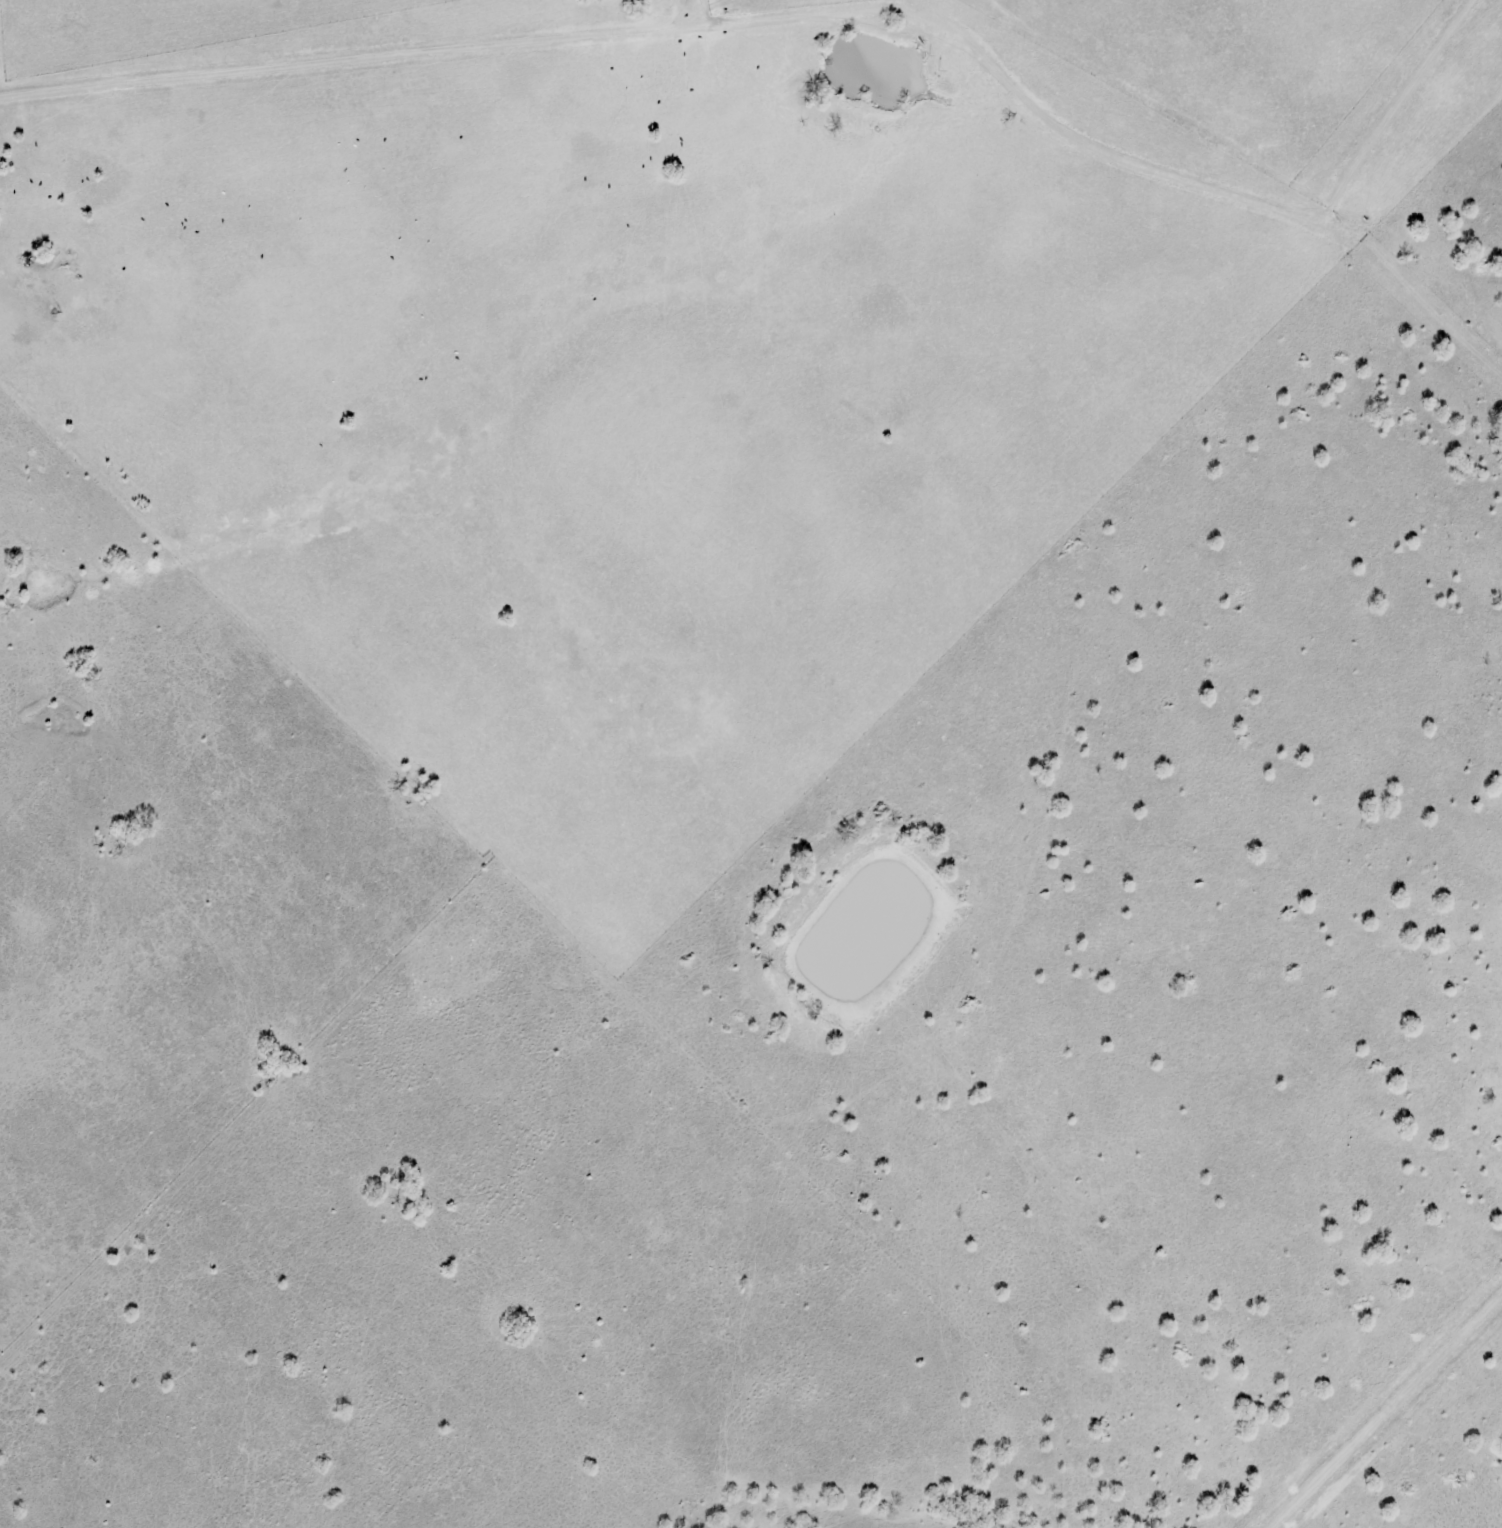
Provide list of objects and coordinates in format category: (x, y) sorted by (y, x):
road: (810, 39)

